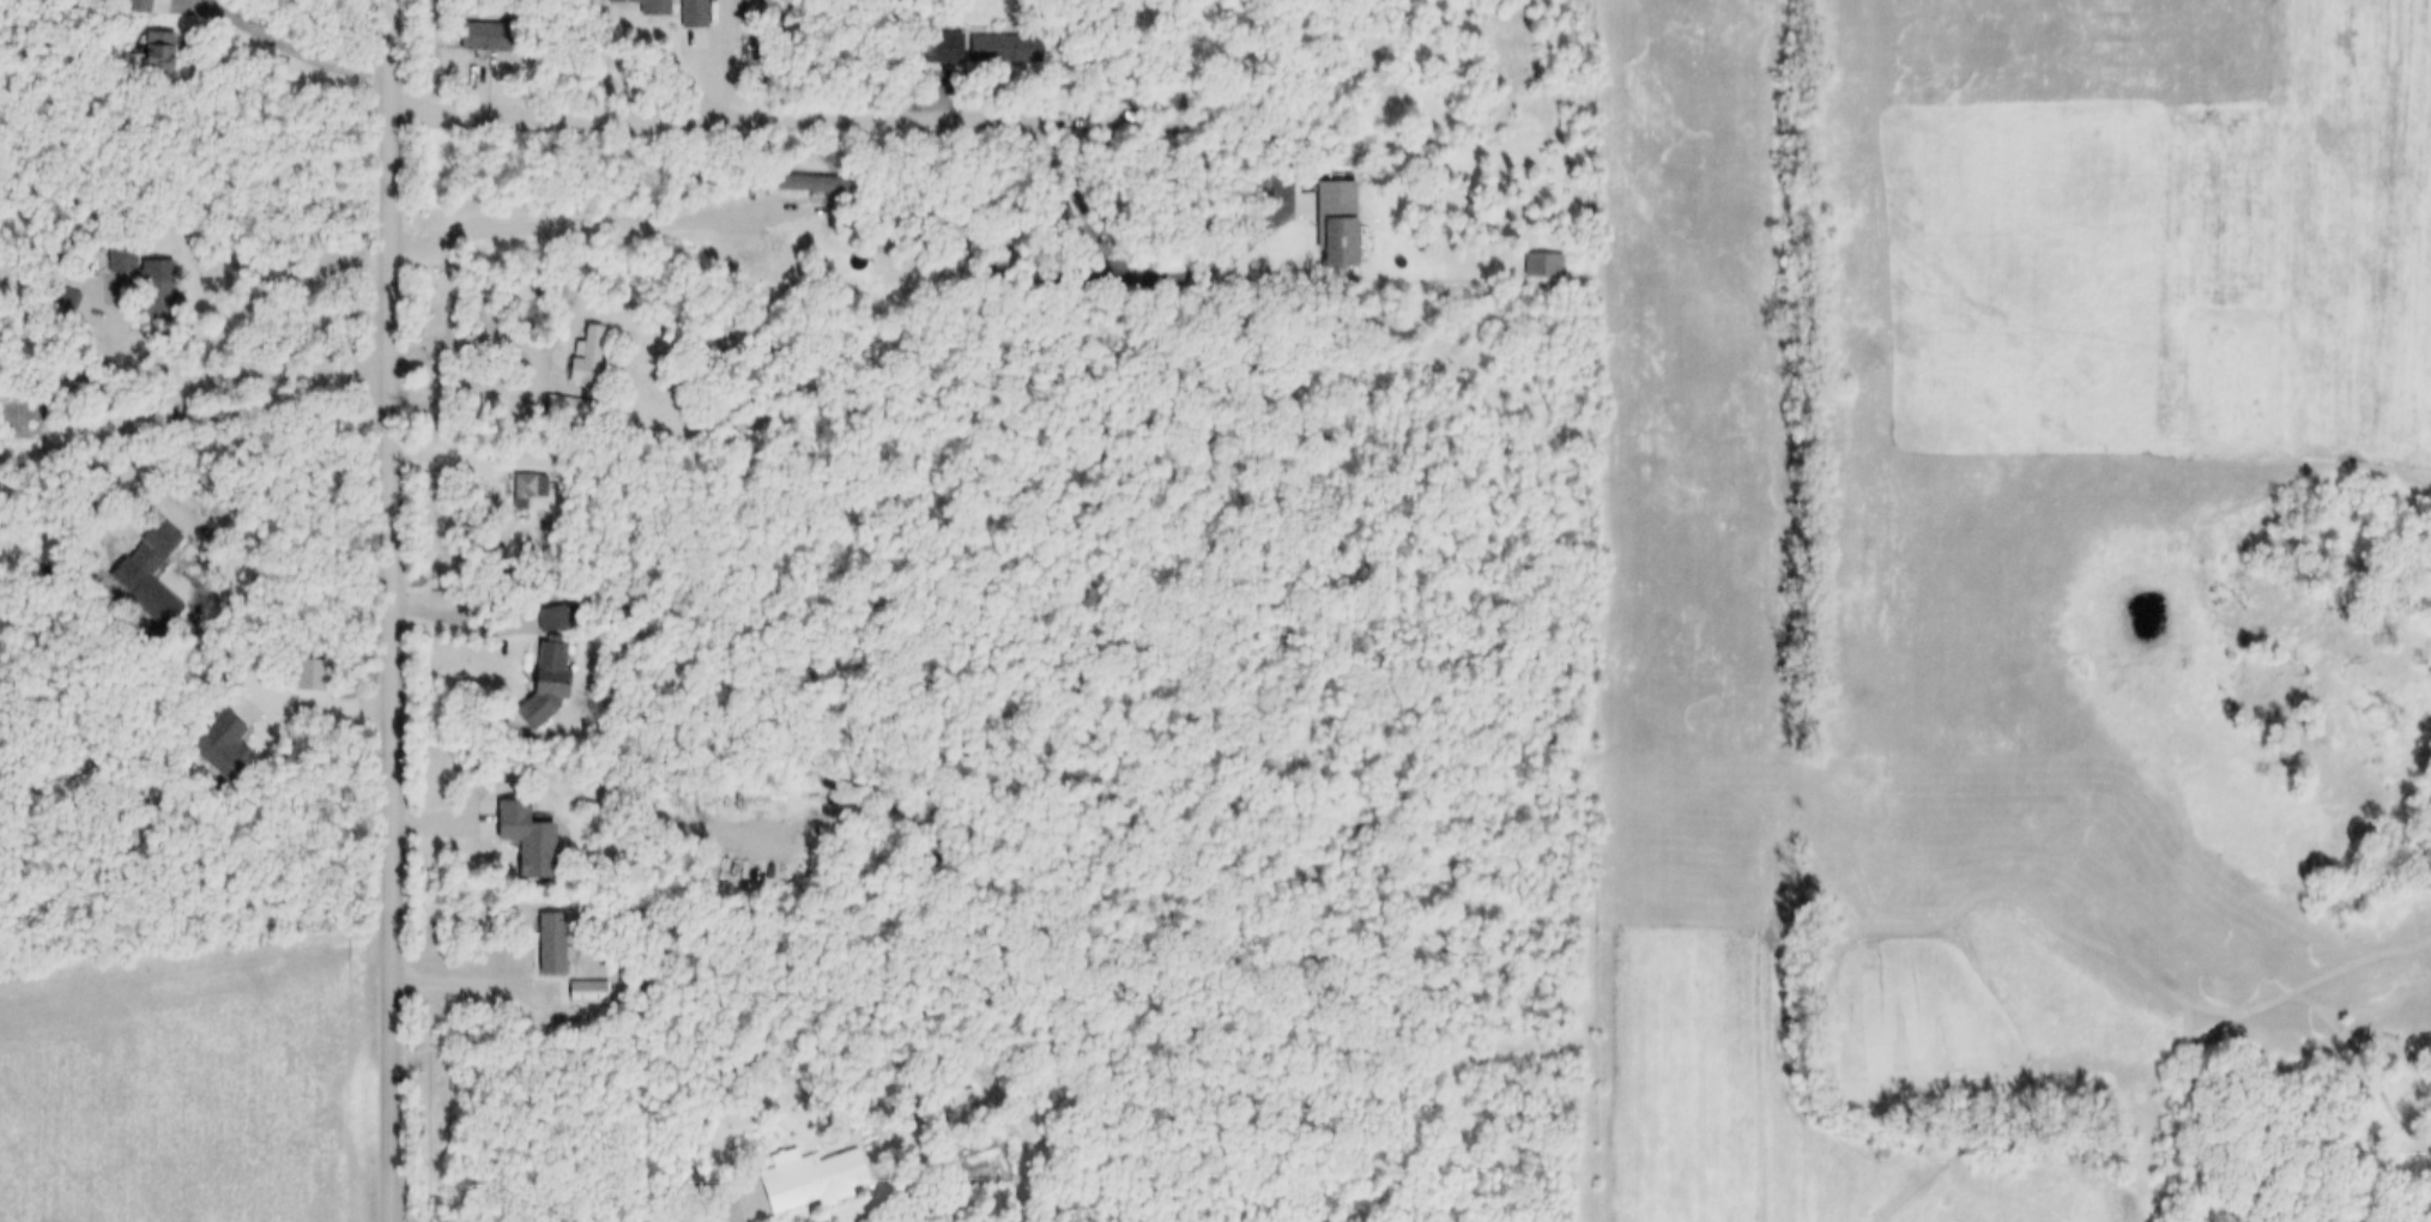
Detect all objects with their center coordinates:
building: (647, 6)
building: (140, 7)
building: (694, 25)
building: (486, 38)
road: (295, 42)
building: (944, 48)
building: (1006, 50)
building: (155, 54)
road: (727, 117)
building: (811, 184)
road: (566, 222)
building: (158, 300)
building: (64, 301)
building: (588, 359)
road: (223, 369)
building: (566, 409)
building: (532, 489)
building: (153, 550)
road: (397, 610)
building: (554, 618)
building: (549, 680)
building: (223, 746)
building: (527, 840)
building: (564, 964)
building: (808, 1175)

